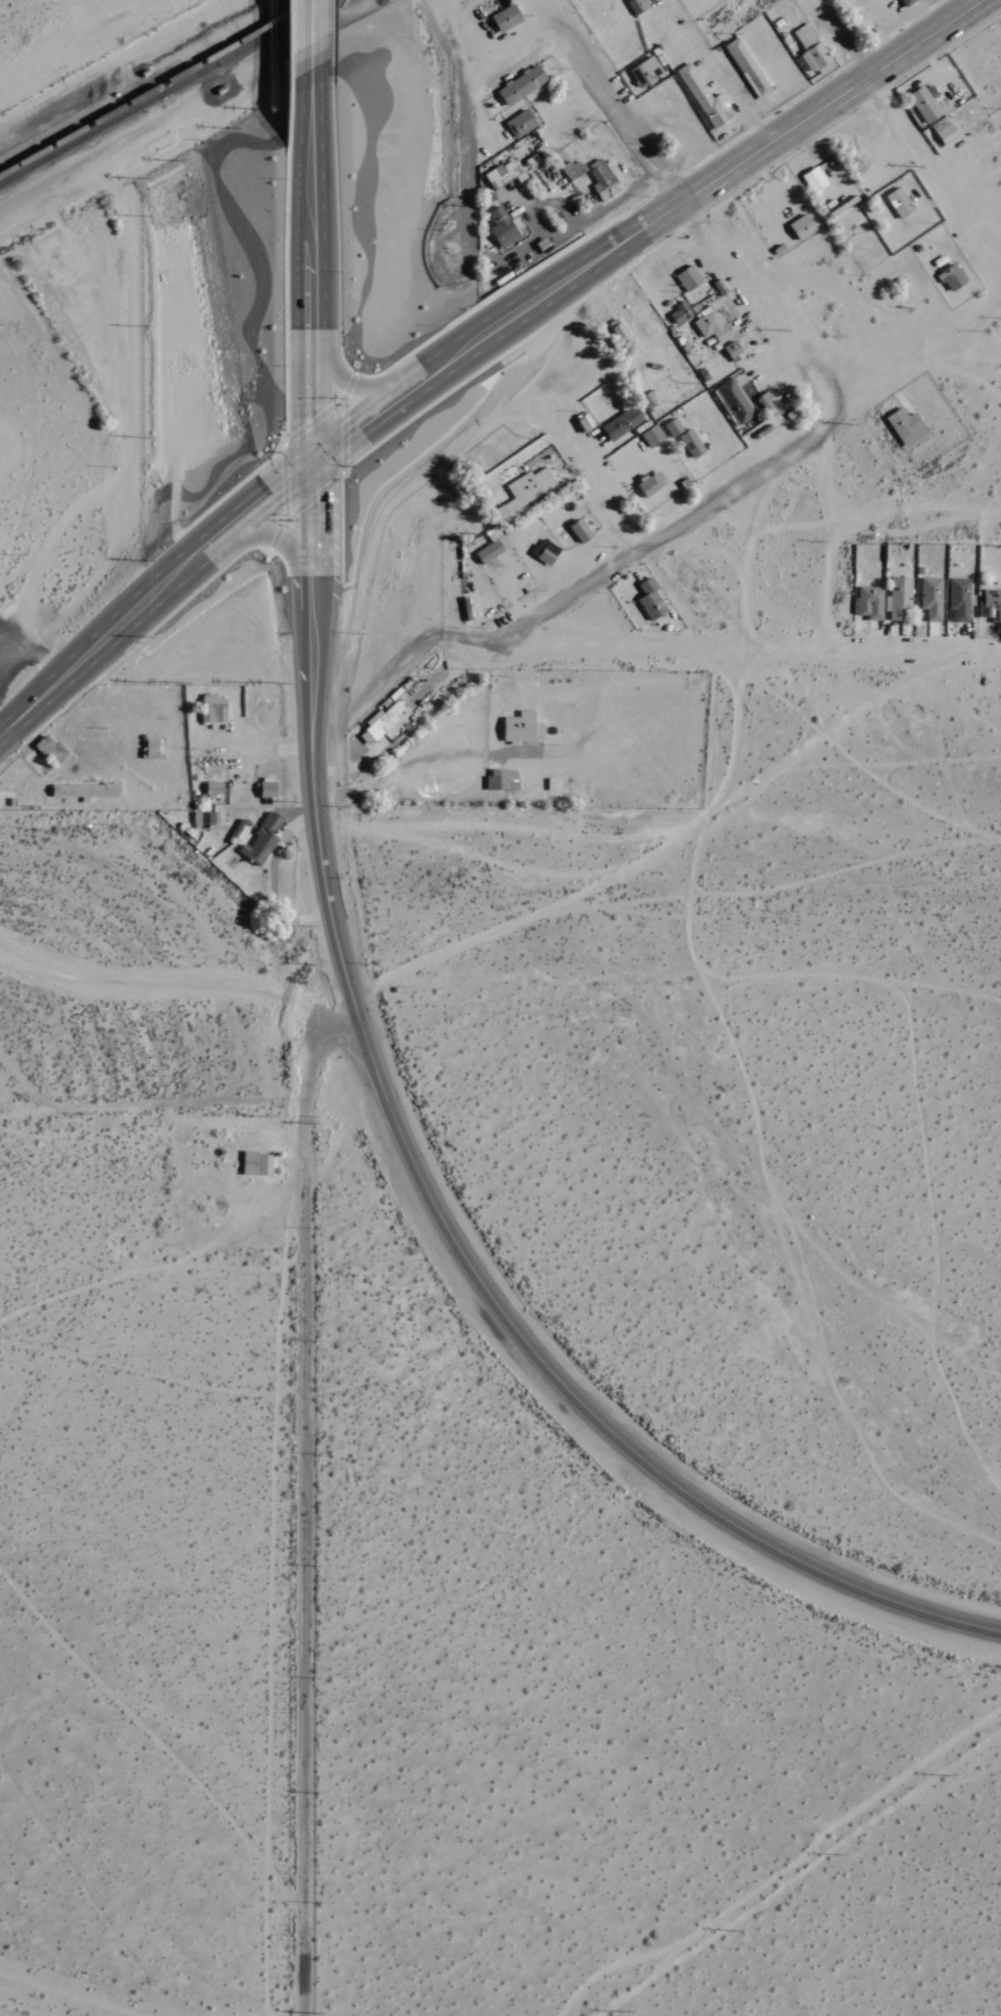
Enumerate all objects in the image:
building: (908, 2)
building: (638, 6)
building: (507, 17)
road: (312, 35)
building: (812, 49)
road: (847, 53)
building: (652, 66)
building: (749, 68)
road: (716, 70)
building: (640, 74)
building: (522, 85)
railway: (156, 86)
railway: (165, 91)
building: (706, 98)
building: (922, 103)
road: (463, 117)
road: (620, 119)
building: (522, 123)
building: (940, 132)
building: (497, 177)
building: (815, 180)
building: (604, 181)
road: (943, 195)
building: (899, 202)
road: (642, 221)
building: (802, 226)
building: (503, 227)
road: (313, 260)
building: (952, 277)
building: (689, 278)
building: (679, 314)
road: (774, 323)
building: (710, 325)
building: (621, 333)
building: (733, 349)
road: (923, 356)
building: (734, 402)
building: (623, 423)
building: (907, 426)
building: (674, 427)
building: (653, 436)
building: (692, 443)
traffic signals: (315, 452)
road: (585, 469)
building: (652, 484)
building: (526, 492)
road: (669, 529)
building: (581, 531)
building: (490, 551)
building: (546, 552)
road: (156, 594)
building: (899, 598)
building: (932, 598)
building: (960, 599)
building: (651, 600)
building: (871, 603)
building: (992, 604)
road: (745, 651)
road: (396, 665)
building: (214, 709)
building: (379, 724)
building: (523, 728)
road: (605, 732)
building: (502, 780)
building: (214, 789)
building: (266, 790)
building: (71, 791)
building: (95, 791)
building: (204, 819)
building: (262, 839)
building: (257, 1164)
road: (423, 1187)
road: (306, 1508)

